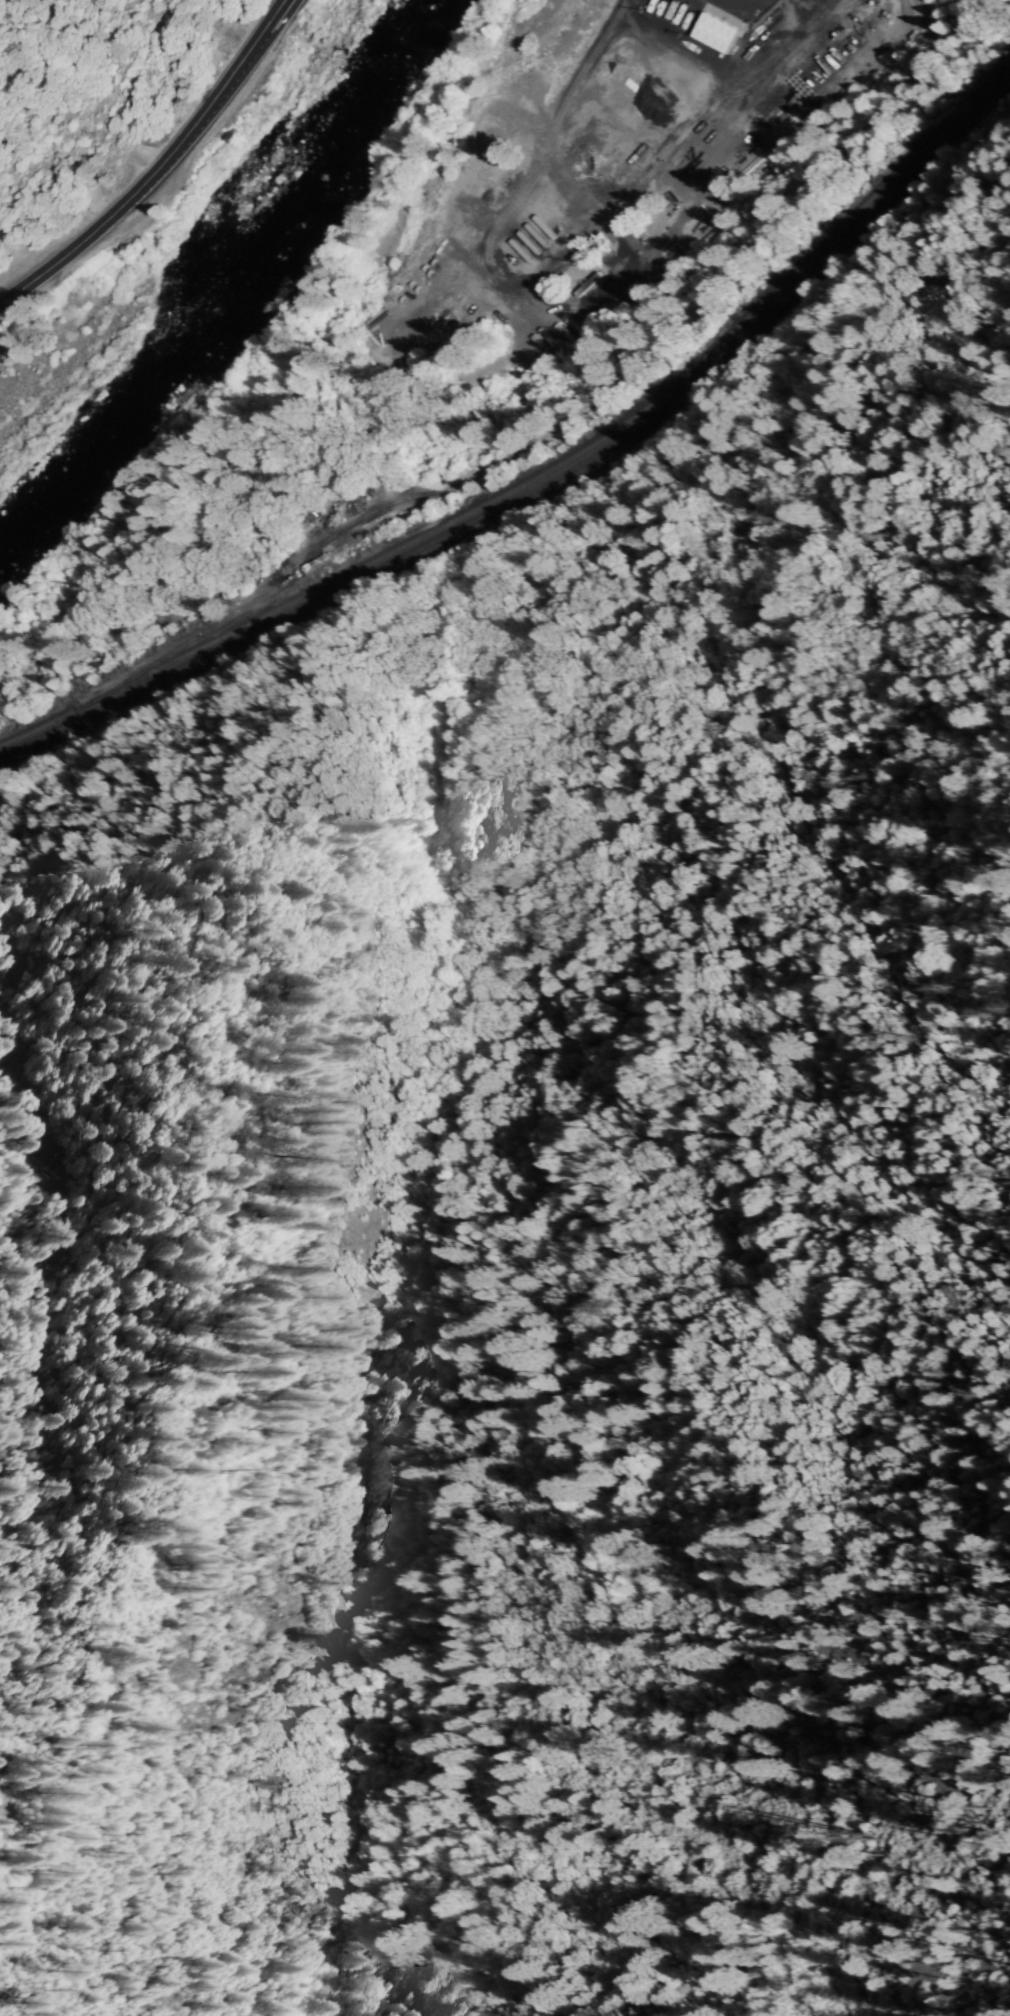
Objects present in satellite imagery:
road: (282, 2)
road: (282, 2)
building: (716, 31)
road: (258, 52)
road: (730, 68)
road: (548, 134)
road: (157, 168)
river: (323, 198)
building: (586, 285)
river: (84, 464)
railway: (551, 470)
railway: (550, 486)

